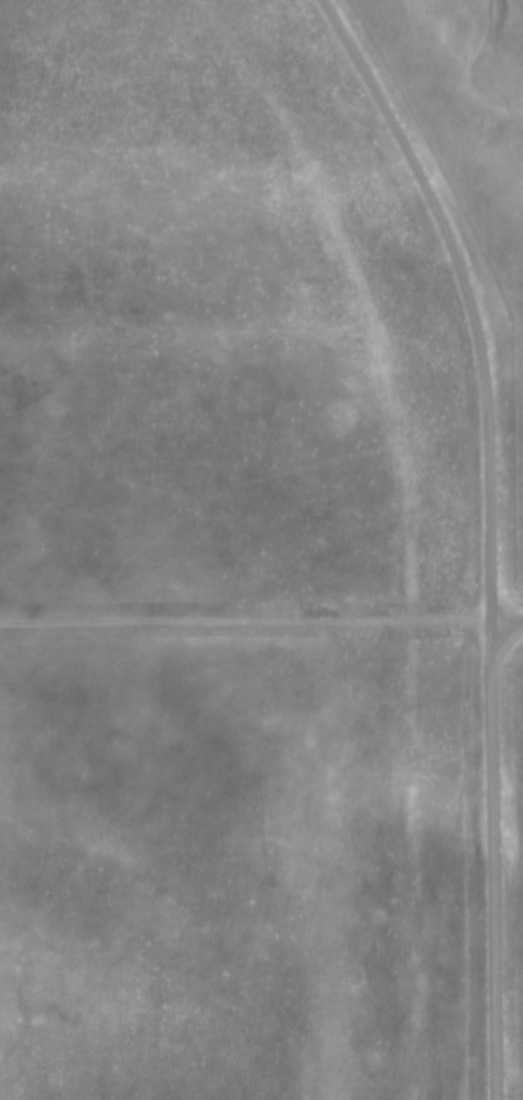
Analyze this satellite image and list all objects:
road: (494, 531)
road: (248, 622)
road: (510, 624)

